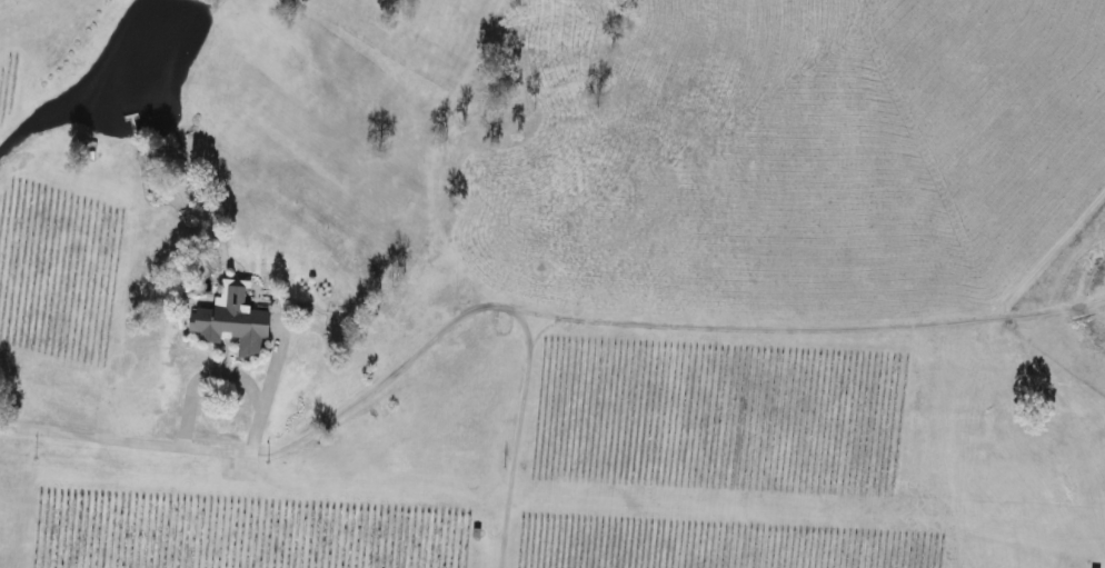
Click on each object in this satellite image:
building: (232, 325)
road: (253, 387)
road: (92, 434)

